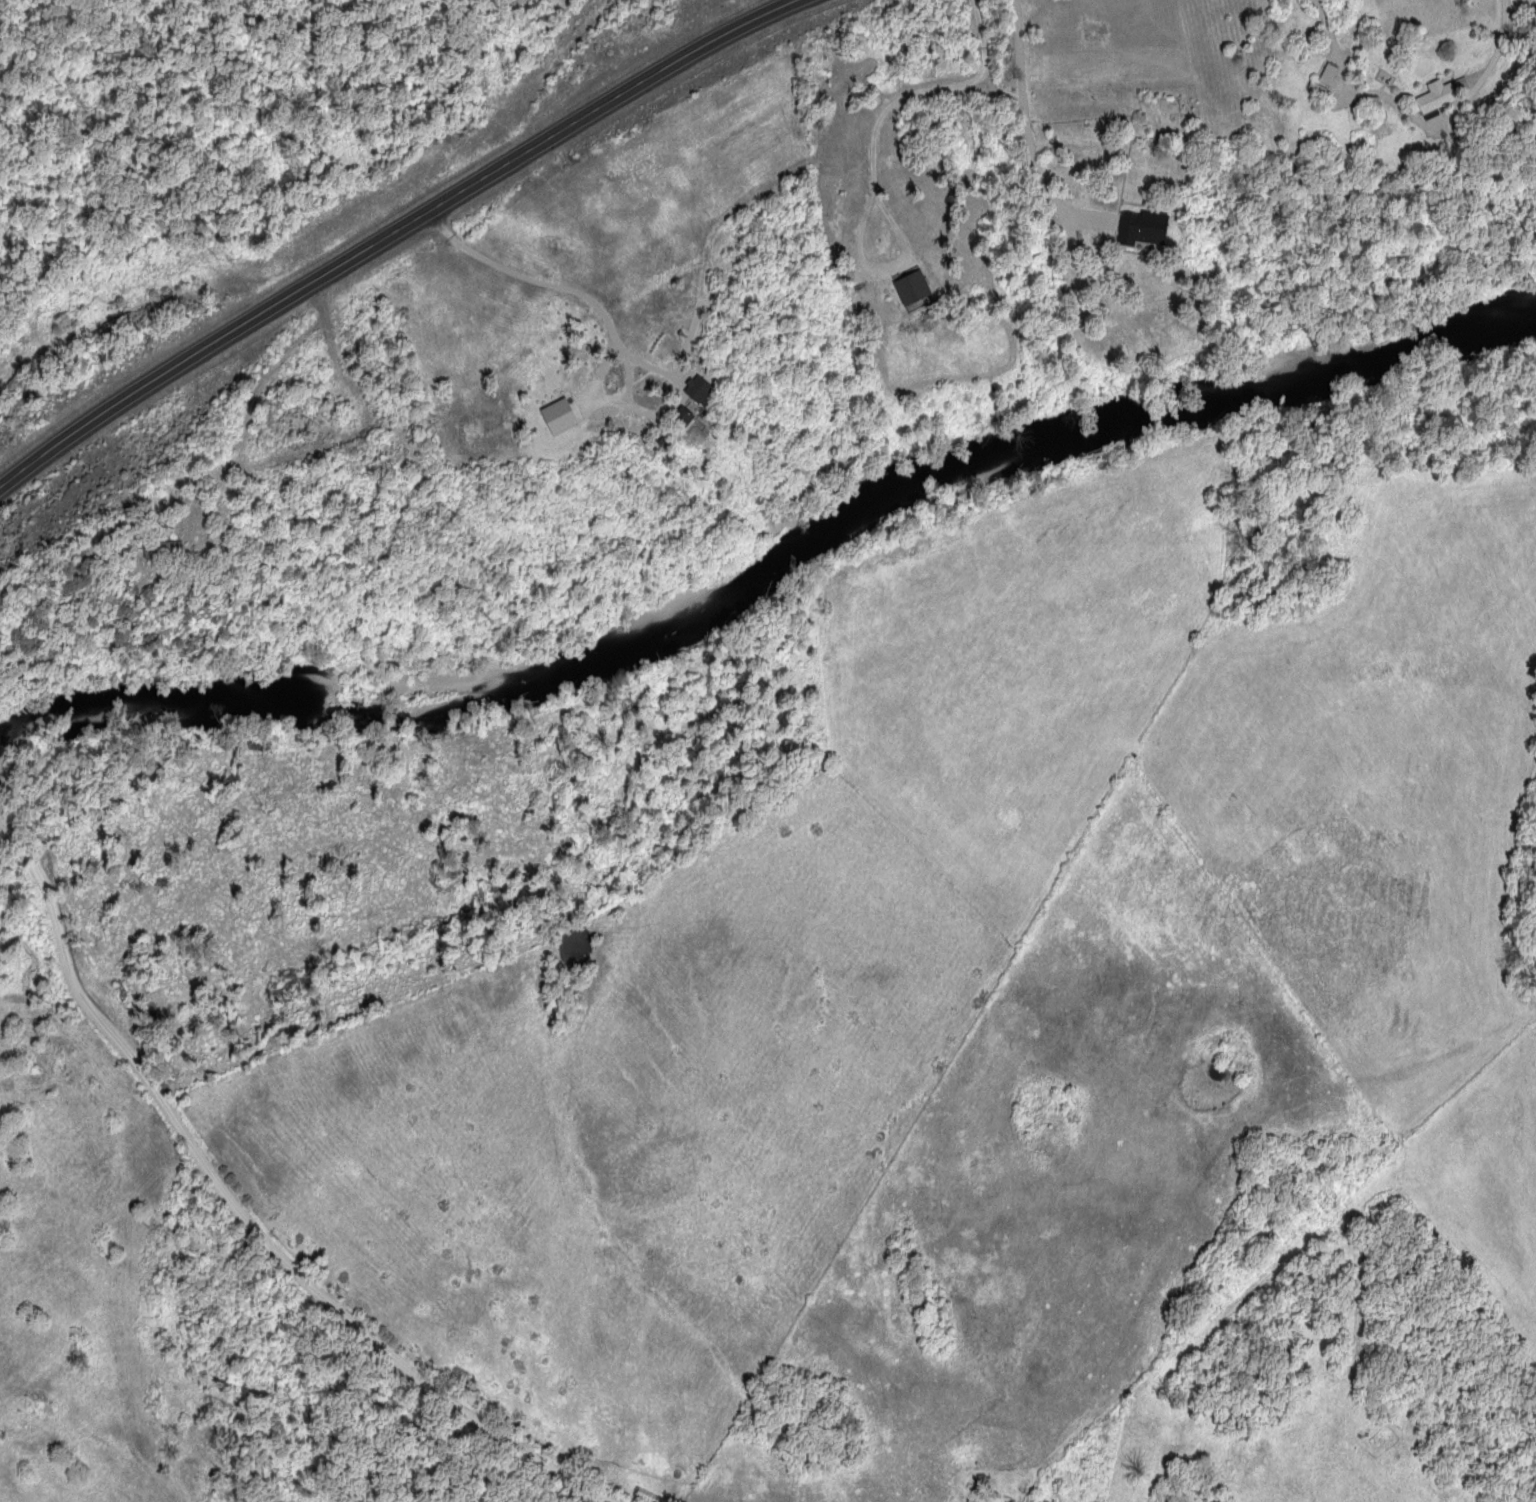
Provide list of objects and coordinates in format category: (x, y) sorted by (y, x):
road: (1492, 69)
building: (1332, 73)
building: (1322, 87)
building: (1444, 93)
road: (1024, 148)
building: (1144, 227)
road: (397, 232)
road: (577, 301)
building: (711, 388)
river: (772, 559)
road: (245, 1212)

